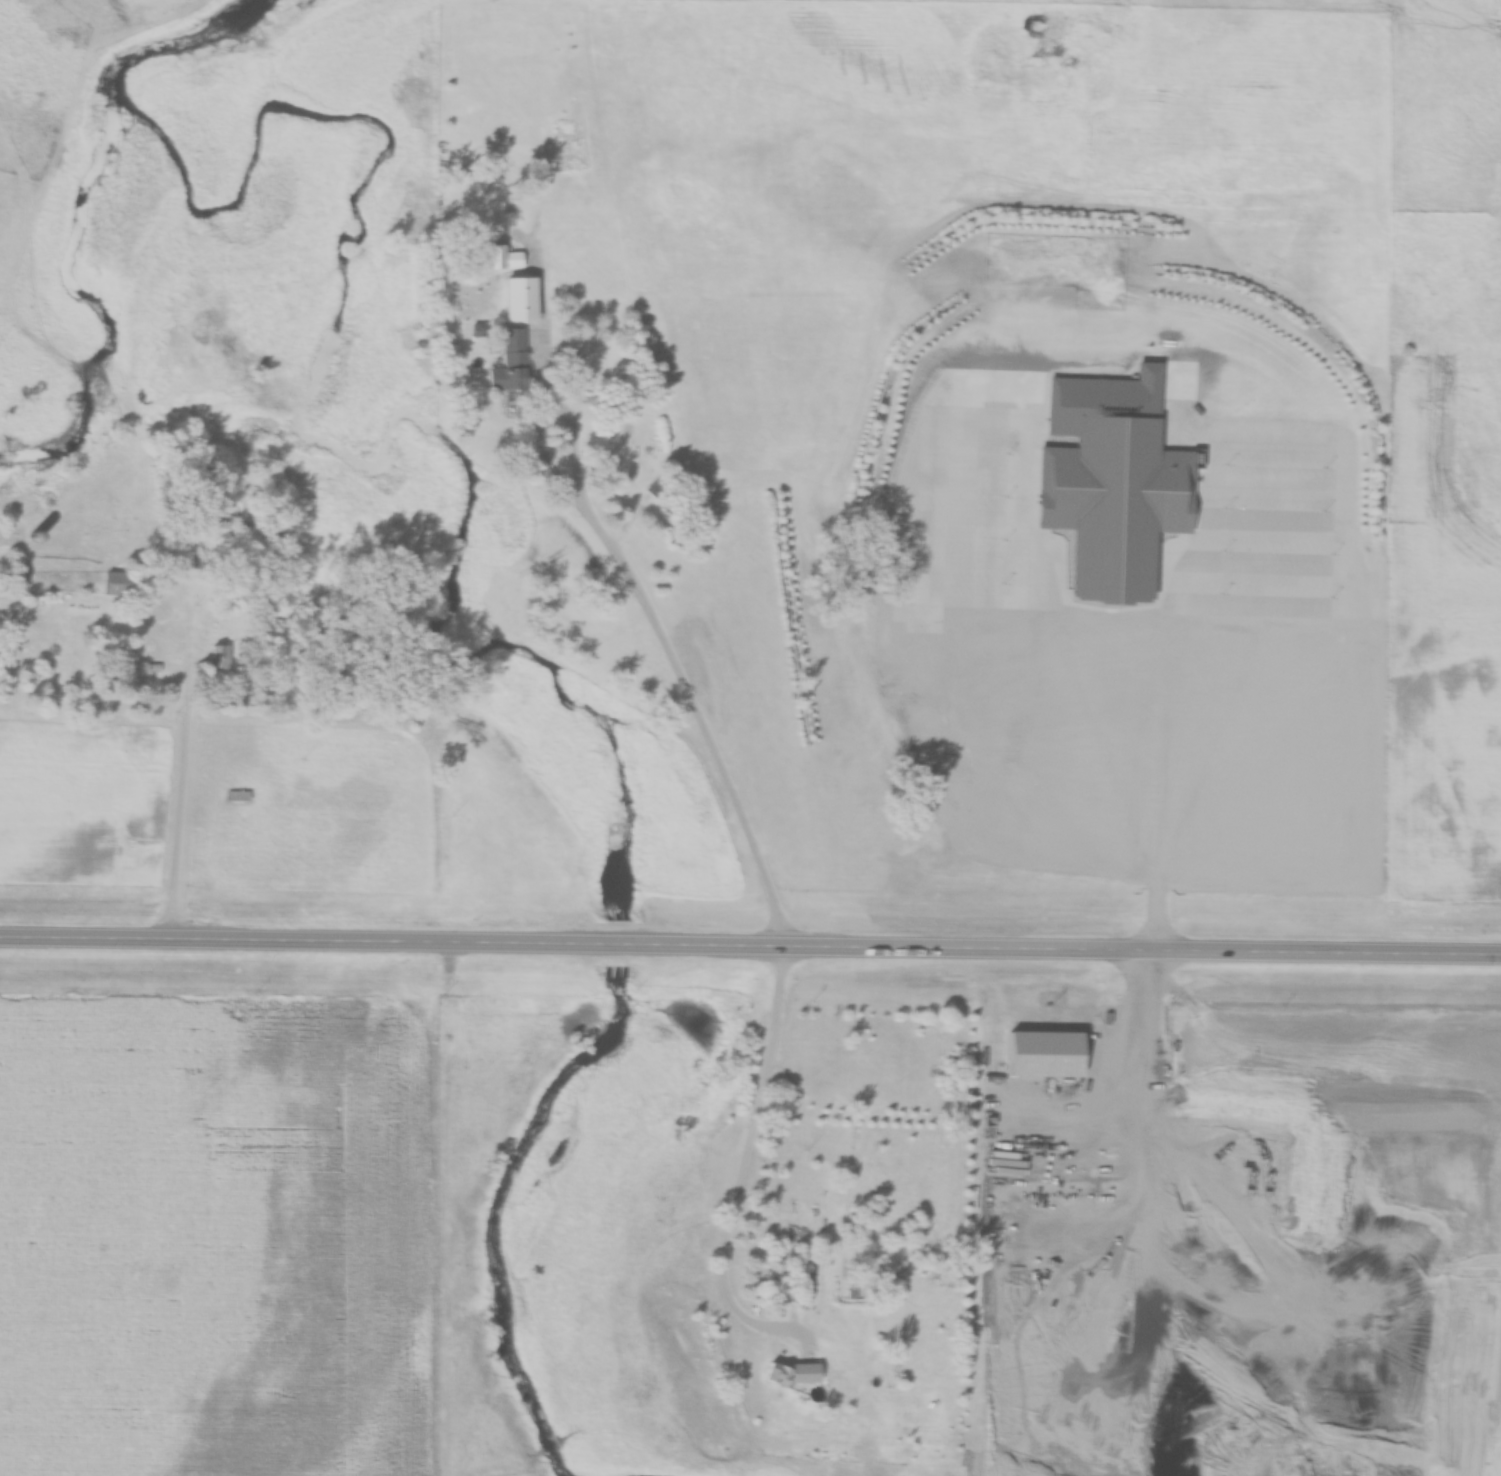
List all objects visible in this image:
building: (499, 257)
building: (509, 362)
building: (627, 469)
building: (1114, 478)
building: (115, 582)
road: (181, 649)
building: (217, 656)
road: (649, 665)
parking lot: (1142, 669)
building: (1216, 725)
building: (236, 795)
road: (1161, 847)
road: (750, 946)
building: (805, 1288)
building: (790, 1373)

